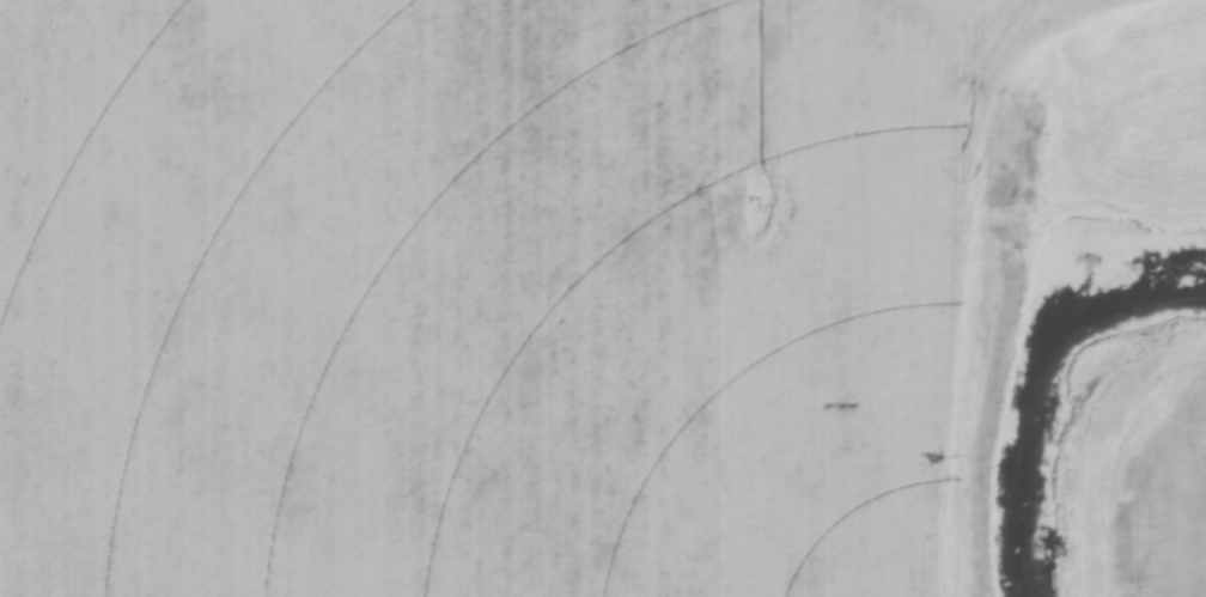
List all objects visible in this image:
river: (1047, 379)

